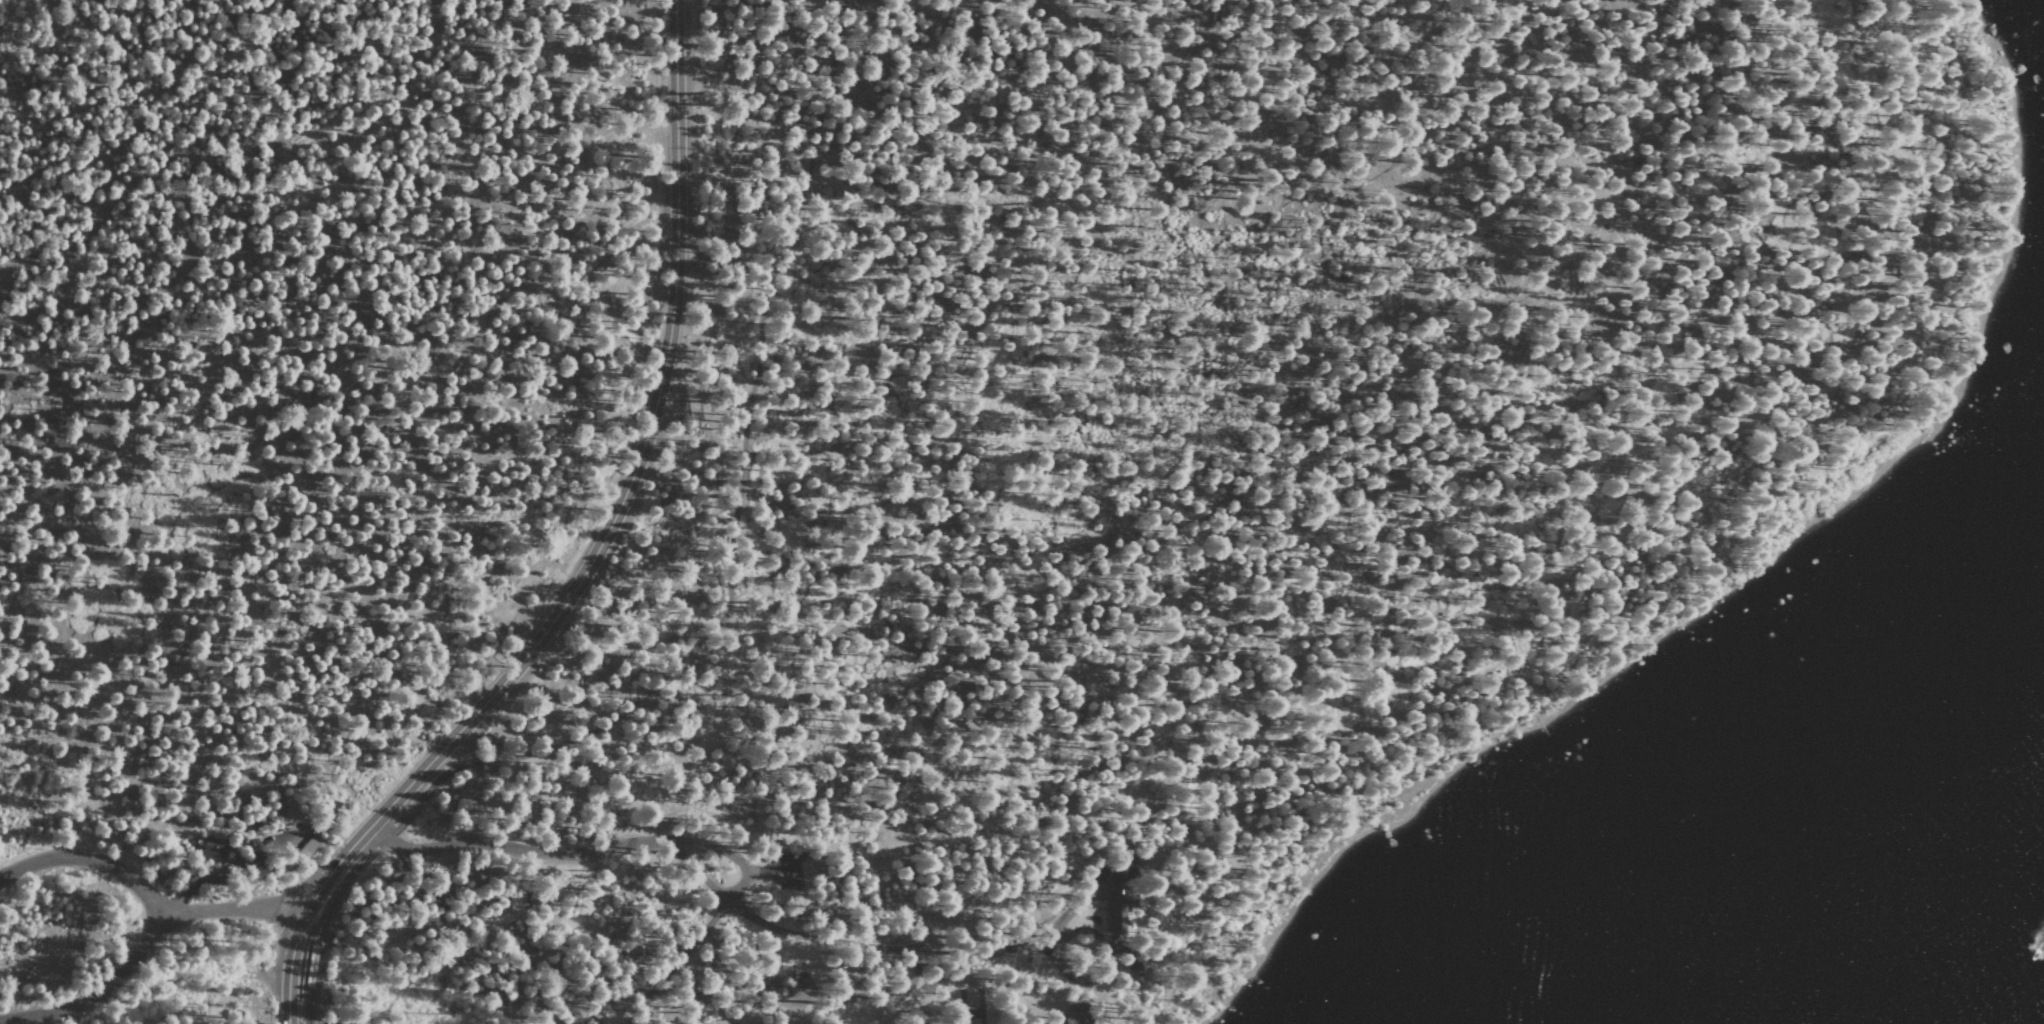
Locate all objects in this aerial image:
road: (591, 557)
road: (716, 612)
road: (1367, 742)
road: (439, 768)
road: (912, 816)
road: (513, 847)
building: (213, 853)
road: (145, 893)
building: (1115, 898)
road: (702, 932)
road: (837, 941)
building: (768, 984)
road: (98, 988)
road: (856, 995)
park: (969, 995)
building: (1076, 1014)
building: (879, 1023)
building: (917, 1023)

